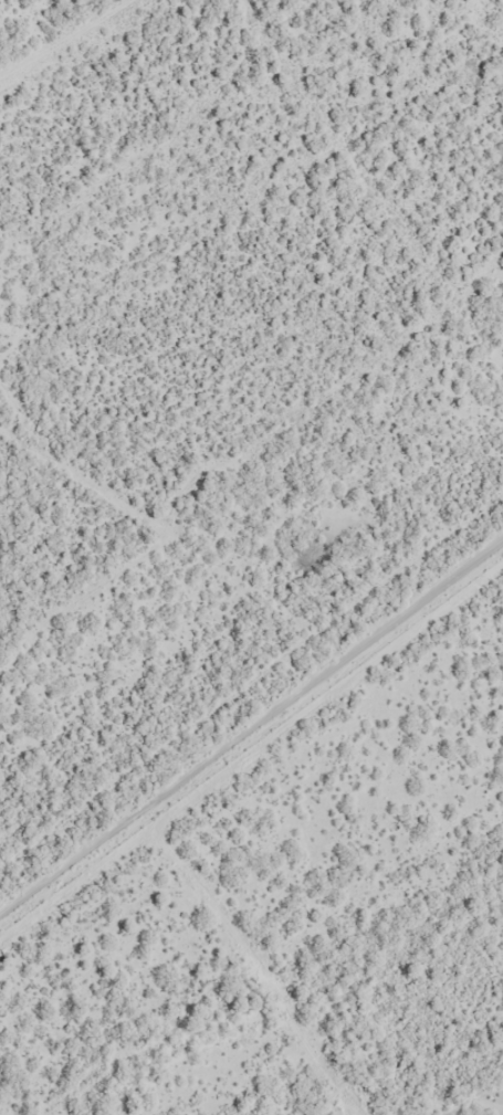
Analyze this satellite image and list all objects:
road: (63, 38)
road: (251, 753)

